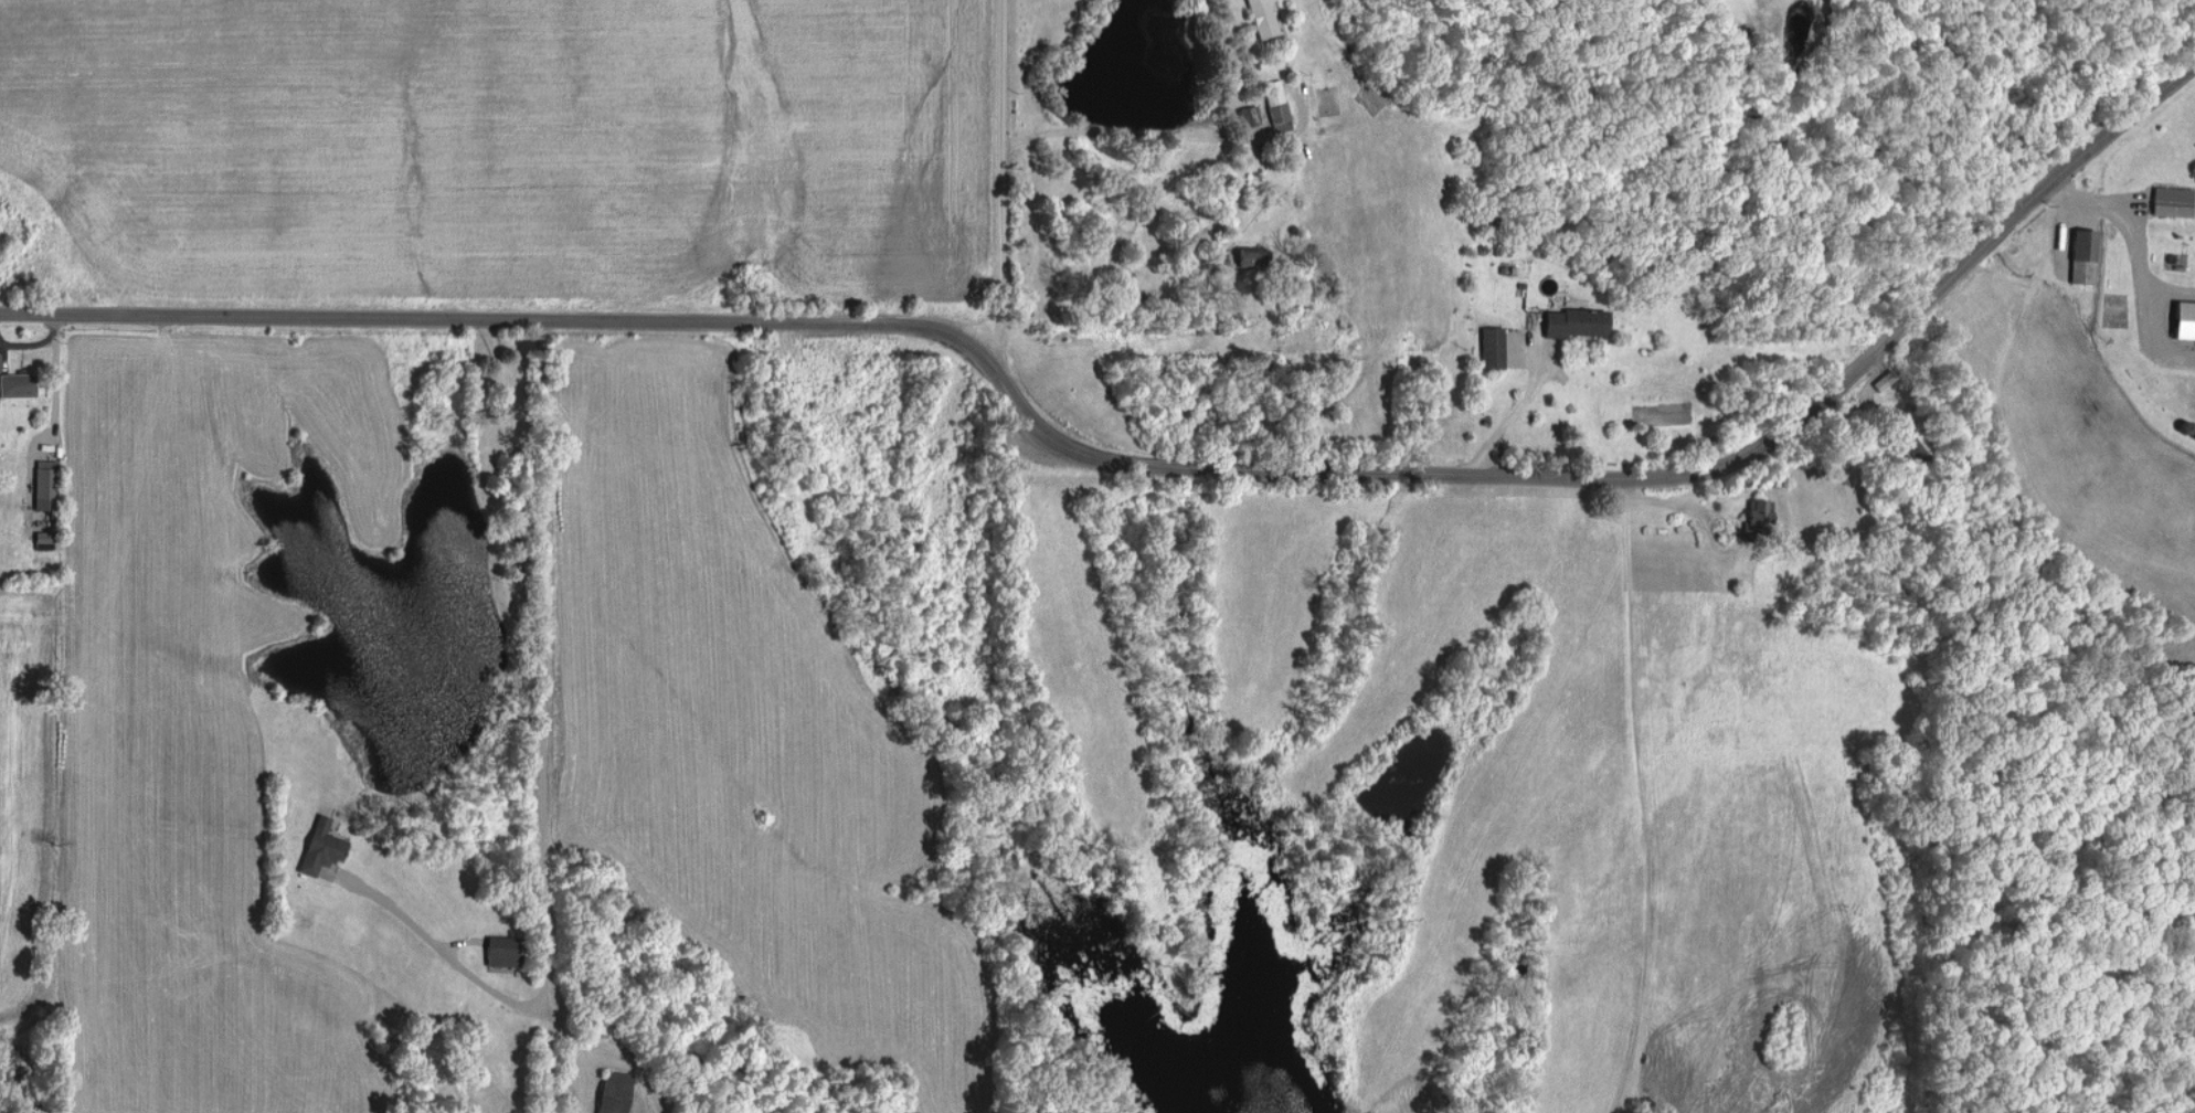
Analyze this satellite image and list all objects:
building: (1262, 18)
building: (1274, 99)
road: (1005, 174)
building: (2172, 200)
building: (2082, 255)
building: (1245, 257)
building: (2184, 319)
road: (489, 321)
building: (1574, 321)
building: (1491, 347)
building: (17, 384)
road: (1634, 475)
building: (44, 487)
building: (1758, 510)
building: (320, 846)
building: (499, 950)
building: (613, 1091)

